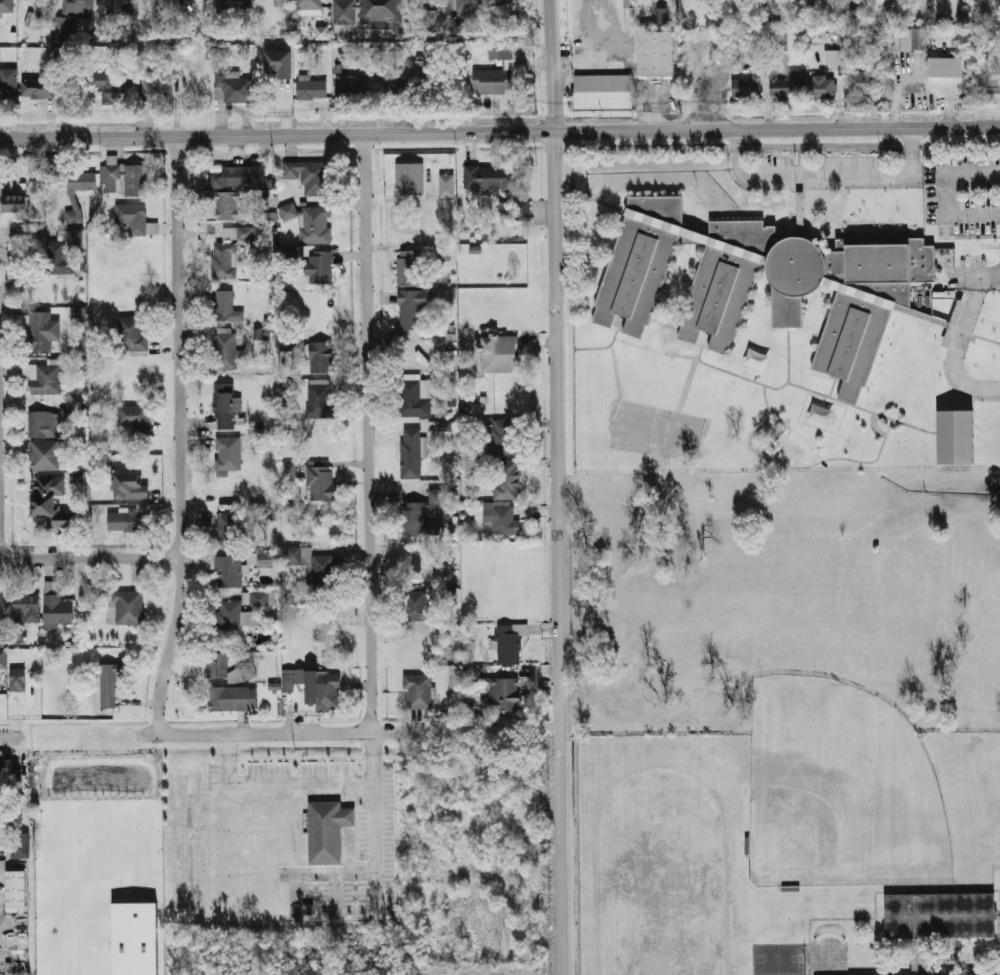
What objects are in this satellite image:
building: (627, 1)
building: (115, 4)
building: (308, 4)
building: (234, 5)
building: (471, 5)
building: (7, 6)
building: (78, 8)
building: (367, 13)
building: (852, 15)
building: (661, 16)
building: (429, 17)
building: (456, 28)
building: (321, 33)
building: (104, 34)
building: (876, 37)
building: (907, 39)
building: (509, 52)
building: (657, 53)
building: (833, 57)
building: (279, 63)
building: (946, 67)
building: (993, 72)
building: (160, 79)
building: (105, 81)
building: (8, 82)
building: (488, 82)
building: (864, 82)
building: (347, 84)
building: (786, 84)
building: (746, 86)
building: (38, 87)
building: (232, 87)
building: (821, 88)
building: (313, 90)
building: (604, 91)
road: (499, 131)
road: (956, 173)
road: (826, 174)
building: (309, 175)
building: (236, 177)
building: (490, 177)
building: (123, 179)
building: (409, 179)
building: (78, 191)
building: (1, 192)
building: (15, 203)
building: (229, 206)
building: (505, 209)
building: (522, 210)
road: (951, 215)
building: (134, 219)
building: (311, 223)
building: (244, 232)
building: (229, 234)
building: (63, 251)
building: (443, 252)
building: (224, 261)
building: (321, 268)
building: (408, 268)
building: (872, 299)
building: (226, 307)
building: (412, 310)
building: (79, 314)
building: (36, 330)
building: (132, 333)
road: (959, 338)
building: (79, 342)
building: (225, 351)
building: (500, 353)
building: (320, 358)
building: (43, 379)
building: (415, 398)
building: (319, 400)
building: (224, 407)
building: (134, 417)
building: (43, 425)
building: (443, 426)
road: (372, 431)
road: (181, 435)
building: (503, 436)
building: (957, 438)
building: (410, 453)
building: (228, 454)
building: (44, 455)
building: (290, 471)
building: (75, 478)
building: (506, 479)
building: (322, 484)
building: (129, 487)
road: (559, 487)
building: (436, 495)
building: (51, 504)
road: (1, 512)
building: (414, 518)
building: (127, 520)
building: (503, 521)
building: (228, 531)
road: (91, 558)
building: (265, 559)
building: (314, 567)
building: (226, 570)
building: (259, 598)
building: (416, 606)
building: (1, 607)
building: (57, 607)
building: (125, 607)
building: (26, 608)
building: (228, 616)
building: (2, 640)
building: (508, 644)
building: (2, 659)
building: (214, 669)
building: (292, 678)
building: (18, 683)
building: (109, 686)
building: (322, 688)
building: (418, 690)
building: (498, 692)
building: (232, 698)
building: (16, 706)
road: (282, 731)
road: (6, 738)
building: (6, 771)
road: (282, 776)
park: (839, 789)
road: (378, 812)
building: (328, 831)
building: (21, 845)
park: (663, 877)
building: (16, 888)
track: (733, 898)
building: (940, 915)
building: (135, 939)
park: (778, 958)
building: (935, 974)

